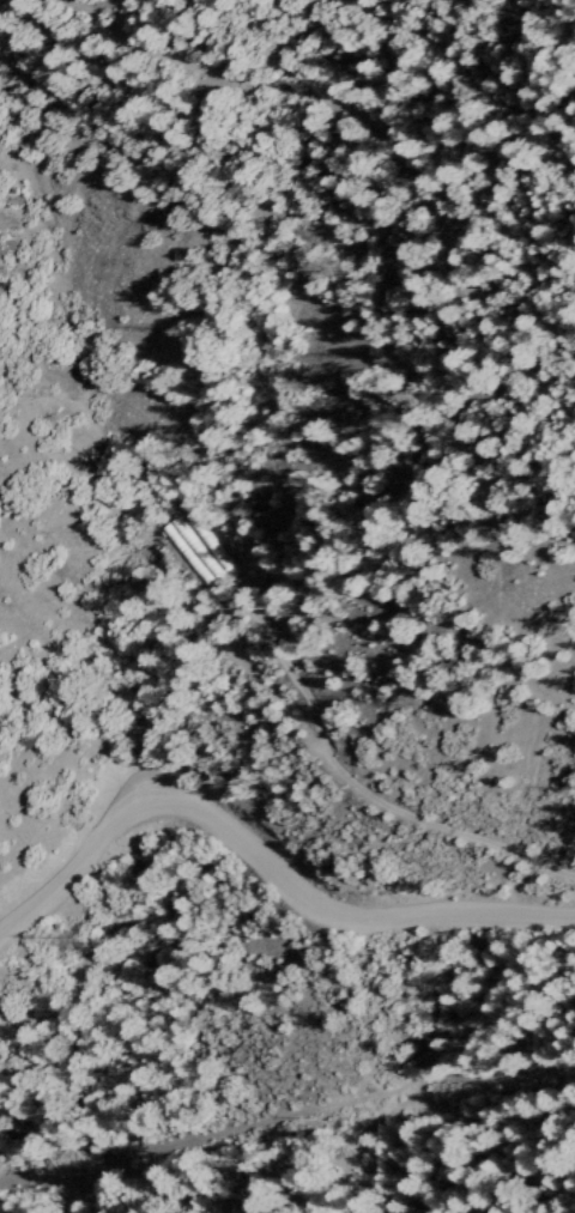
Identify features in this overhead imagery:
road: (264, 891)
road: (286, 1130)

